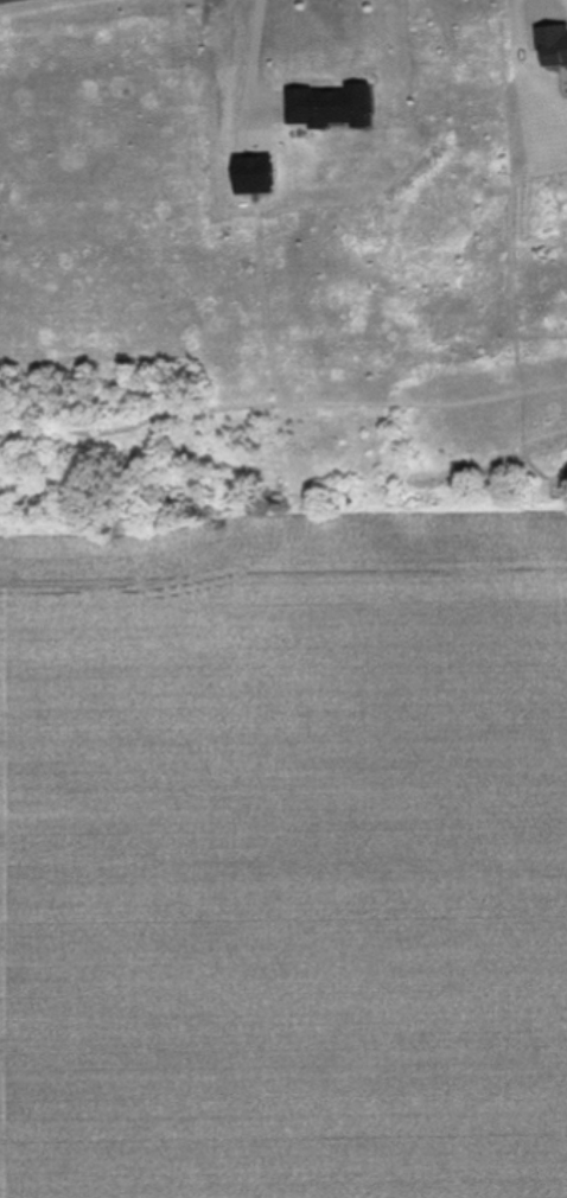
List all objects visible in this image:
road: (253, 53)
crop: (283, 849)

